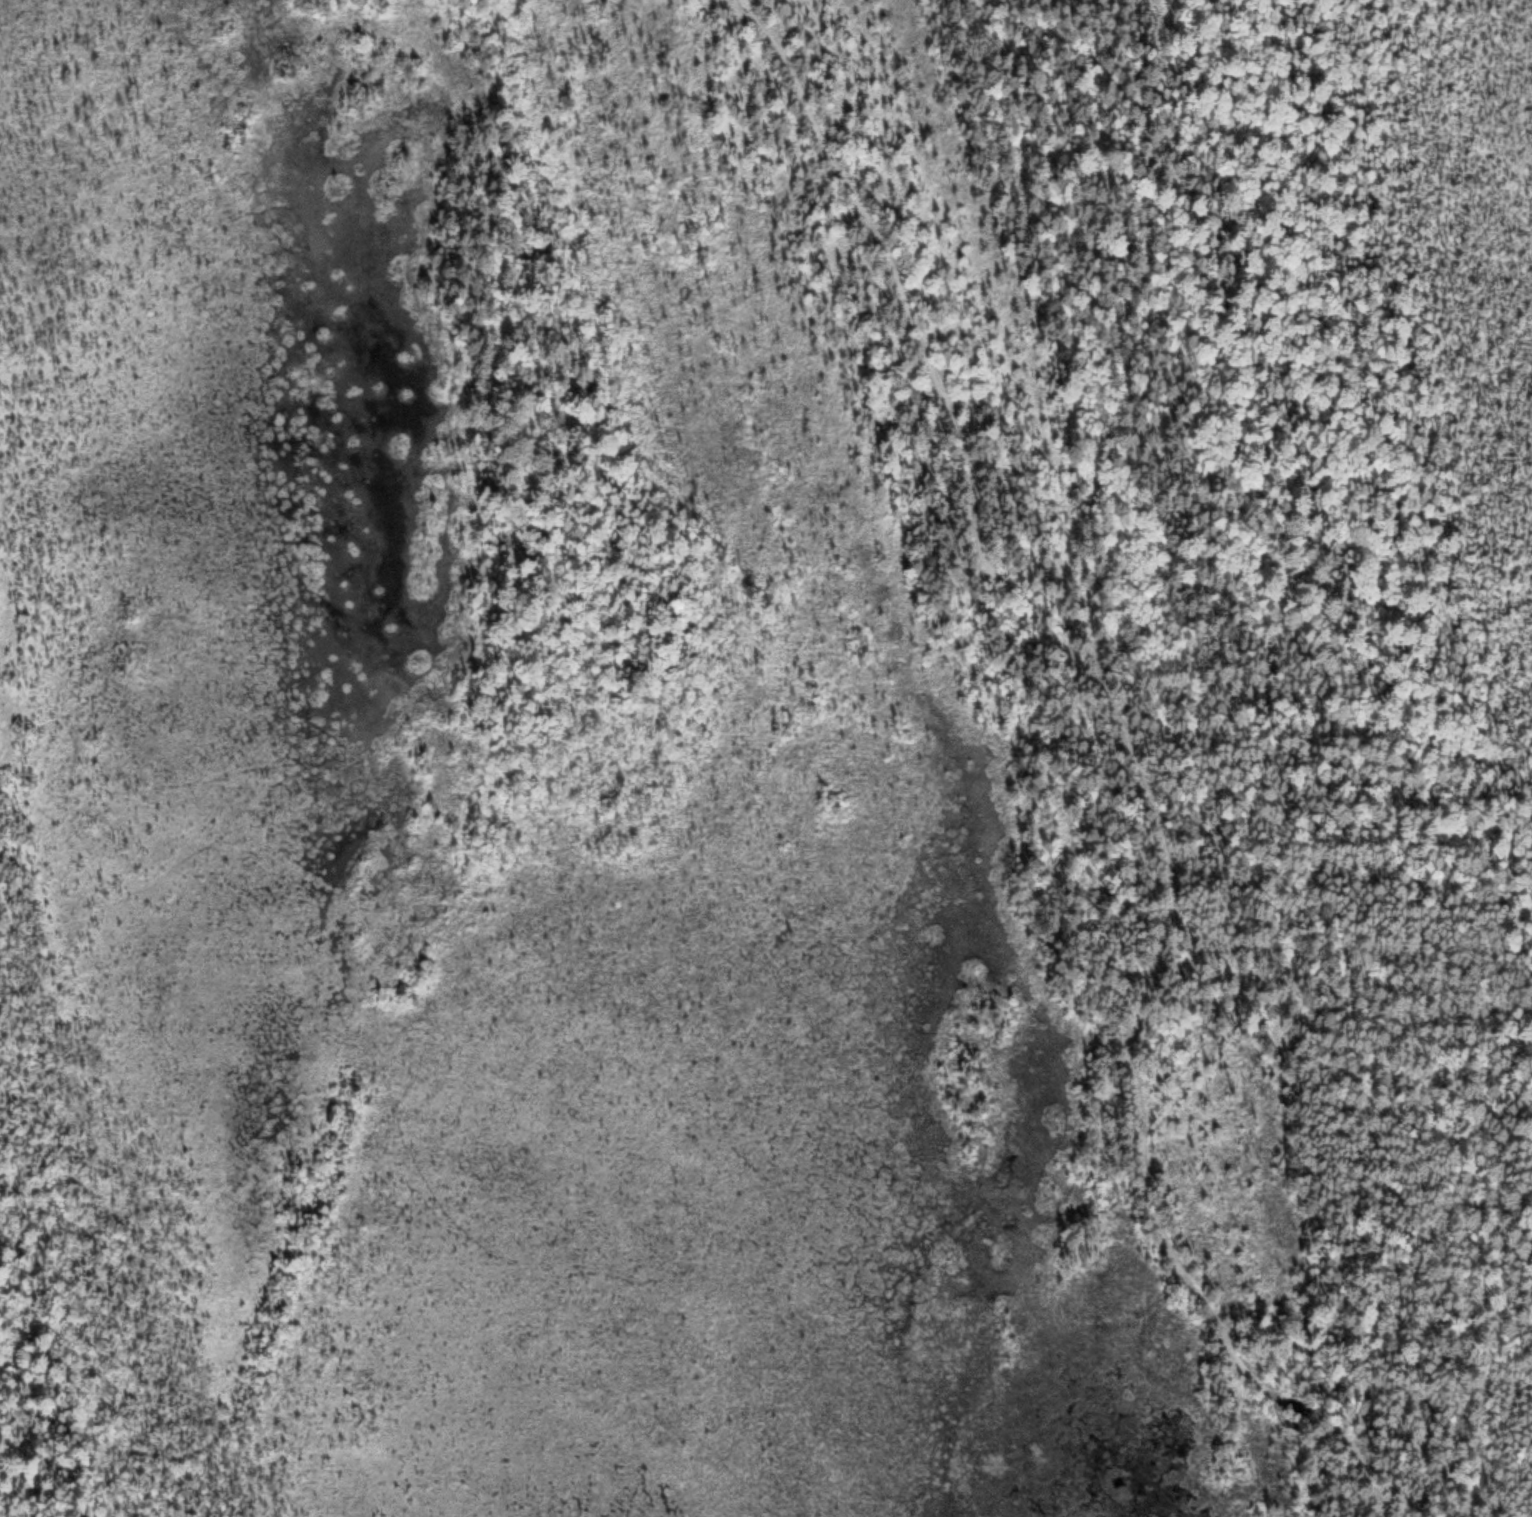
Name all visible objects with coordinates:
road: (1133, 751)

